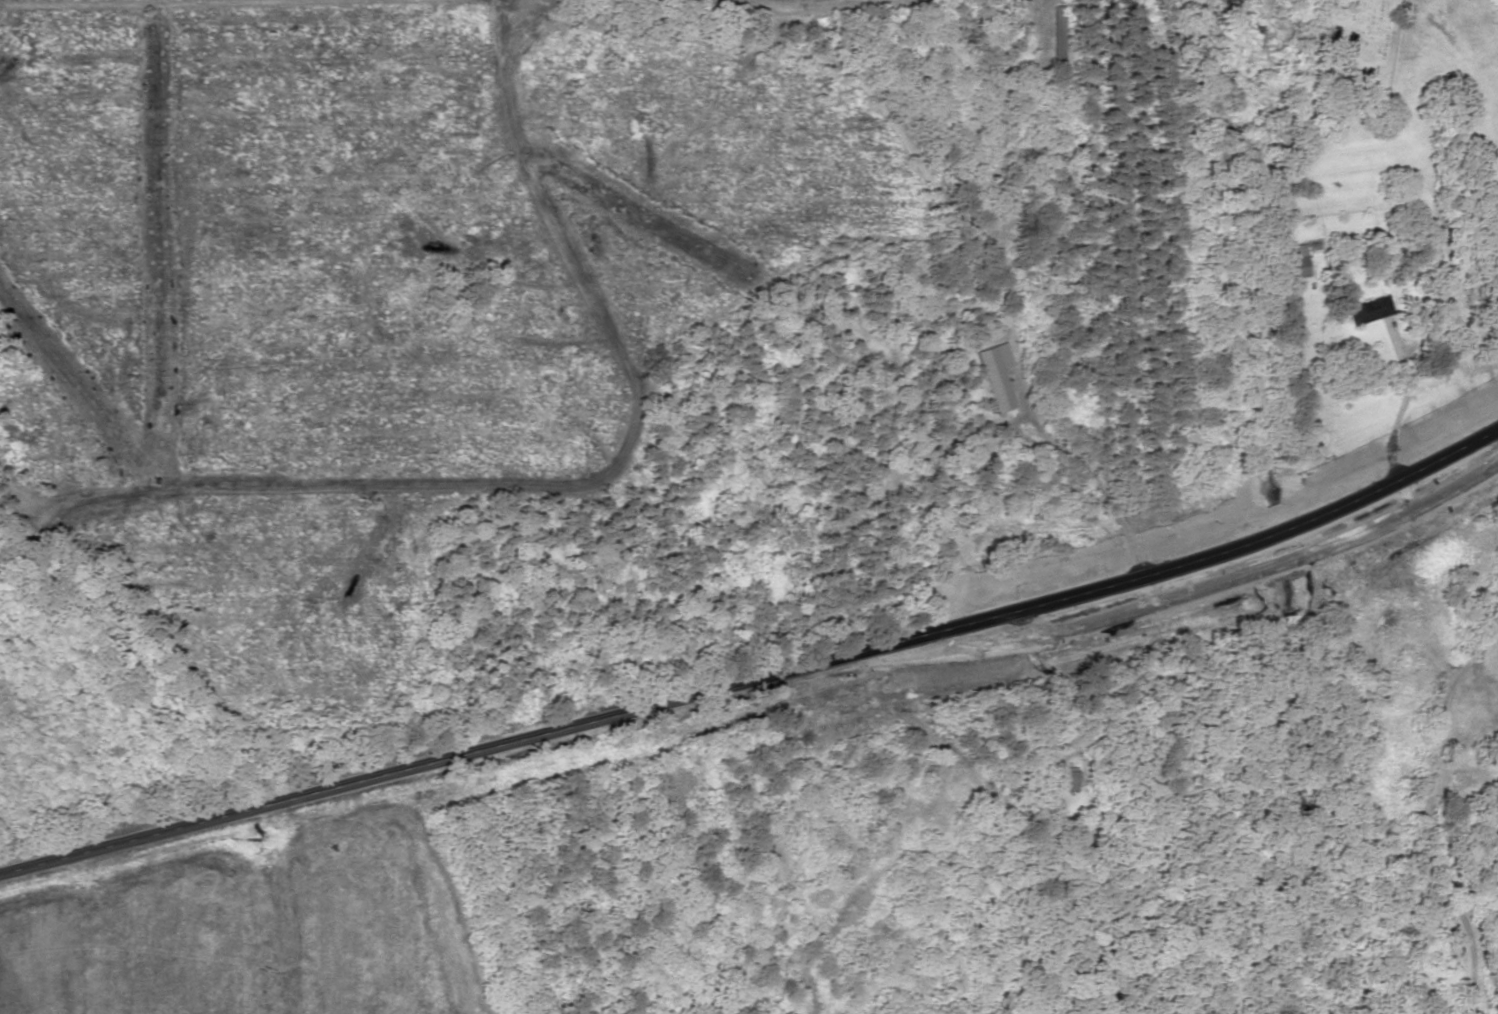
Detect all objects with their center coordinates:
building: (1297, 263)
road: (1005, 301)
building: (1372, 312)
building: (996, 380)
road: (757, 681)
road: (1440, 757)
building: (1471, 778)
building: (1067, 782)

